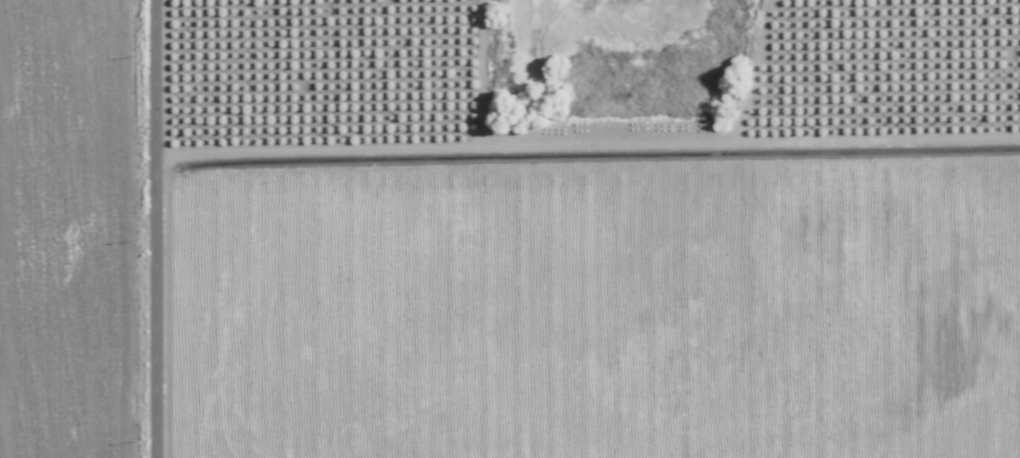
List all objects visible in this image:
road: (158, 229)

